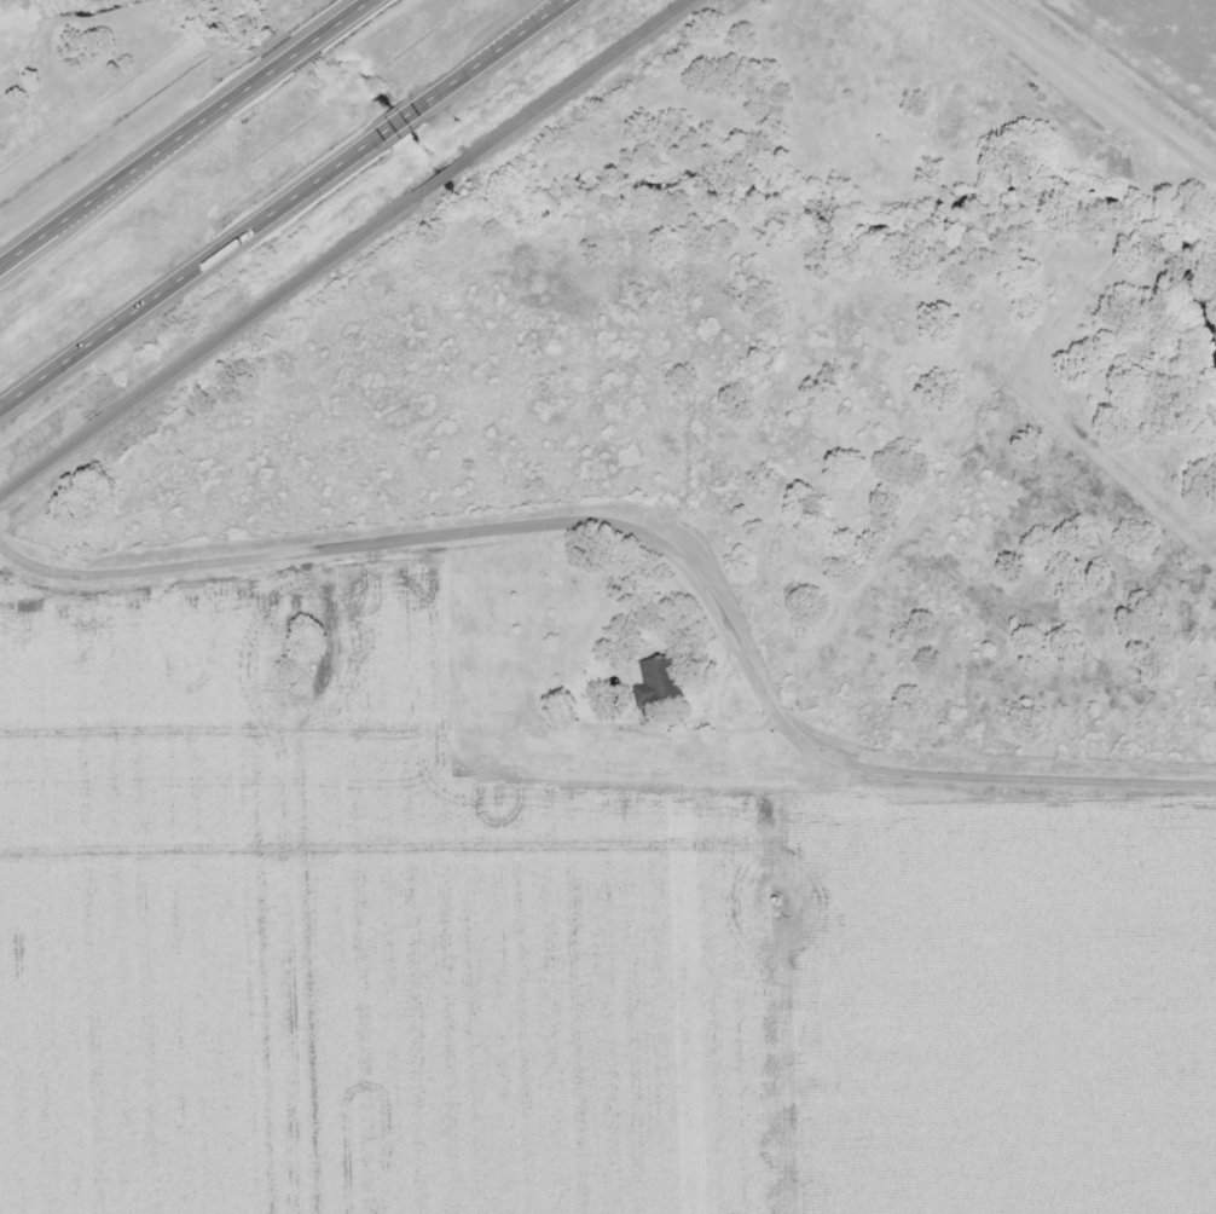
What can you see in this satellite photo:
road: (337, 23)
road: (496, 52)
road: (284, 62)
railway: (579, 79)
road: (1099, 86)
road: (401, 120)
road: (131, 173)
railway: (446, 175)
road: (190, 270)
railway: (210, 343)
road: (658, 531)
building: (652, 680)

